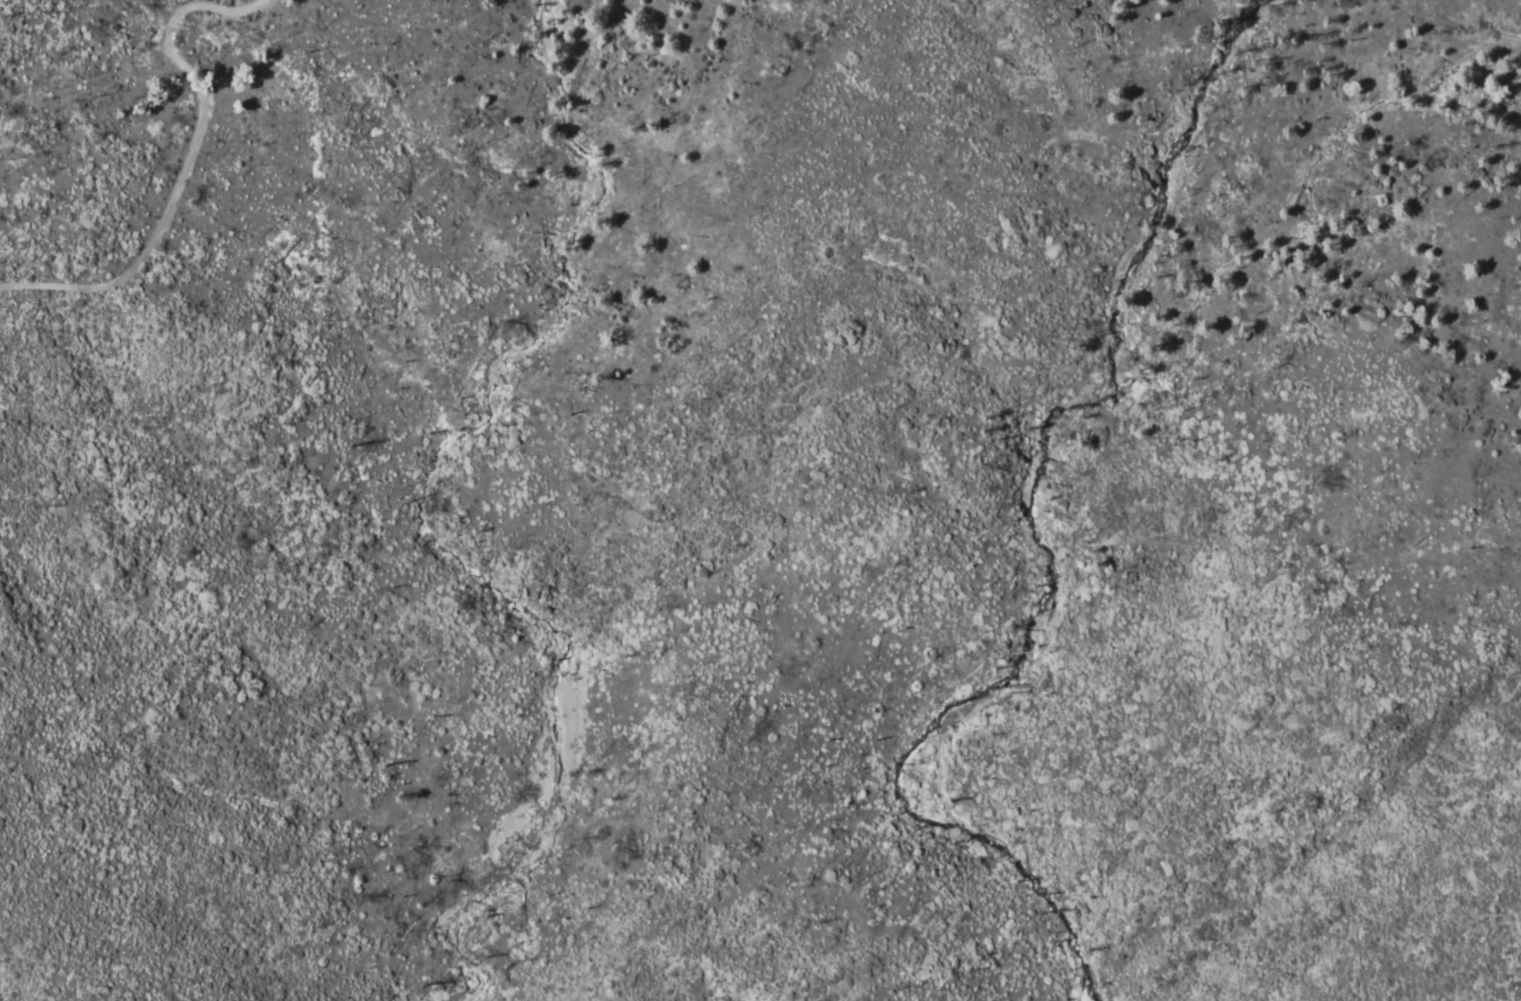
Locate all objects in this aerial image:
road: (1499, 25)
road: (183, 164)

